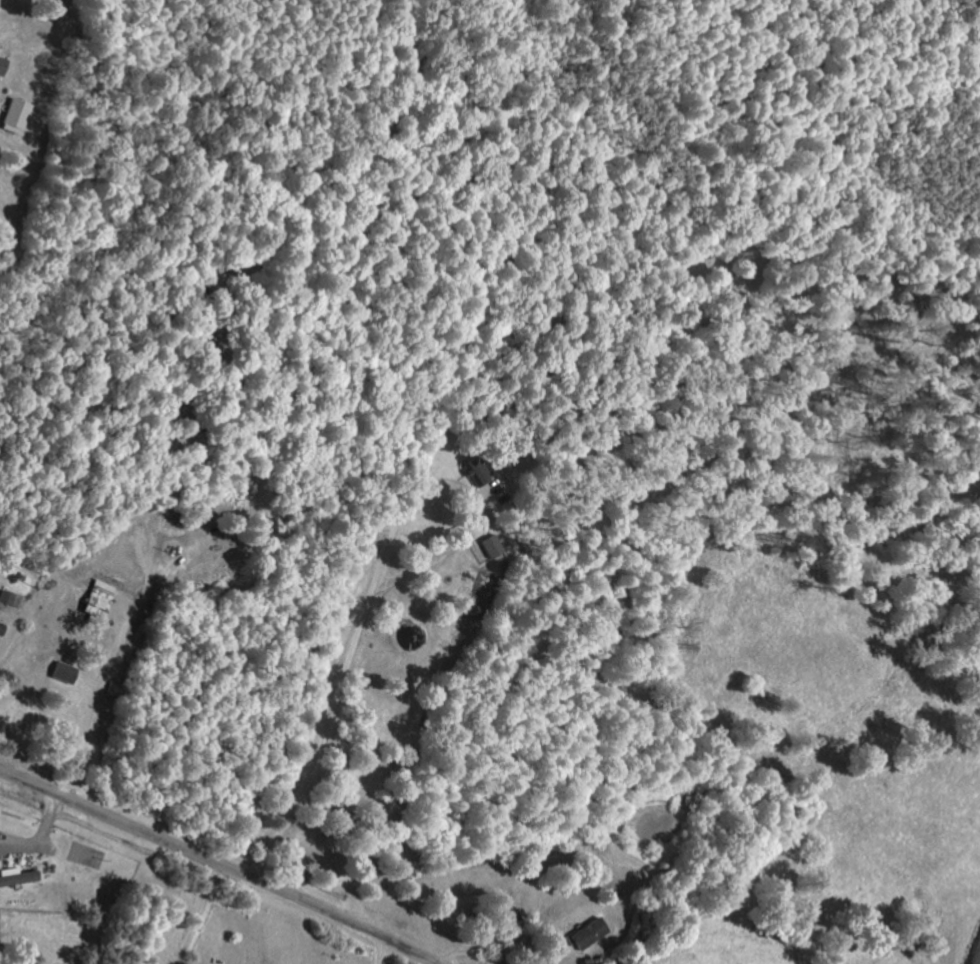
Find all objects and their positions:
building: (1, 65)
building: (12, 116)
building: (471, 465)
building: (488, 546)
building: (8, 599)
building: (96, 600)
building: (1, 628)
road: (4, 643)
road: (348, 665)
building: (61, 673)
road: (93, 703)
road: (216, 865)
building: (15, 877)
road: (194, 914)
building: (586, 933)
road: (494, 946)
road: (380, 952)

